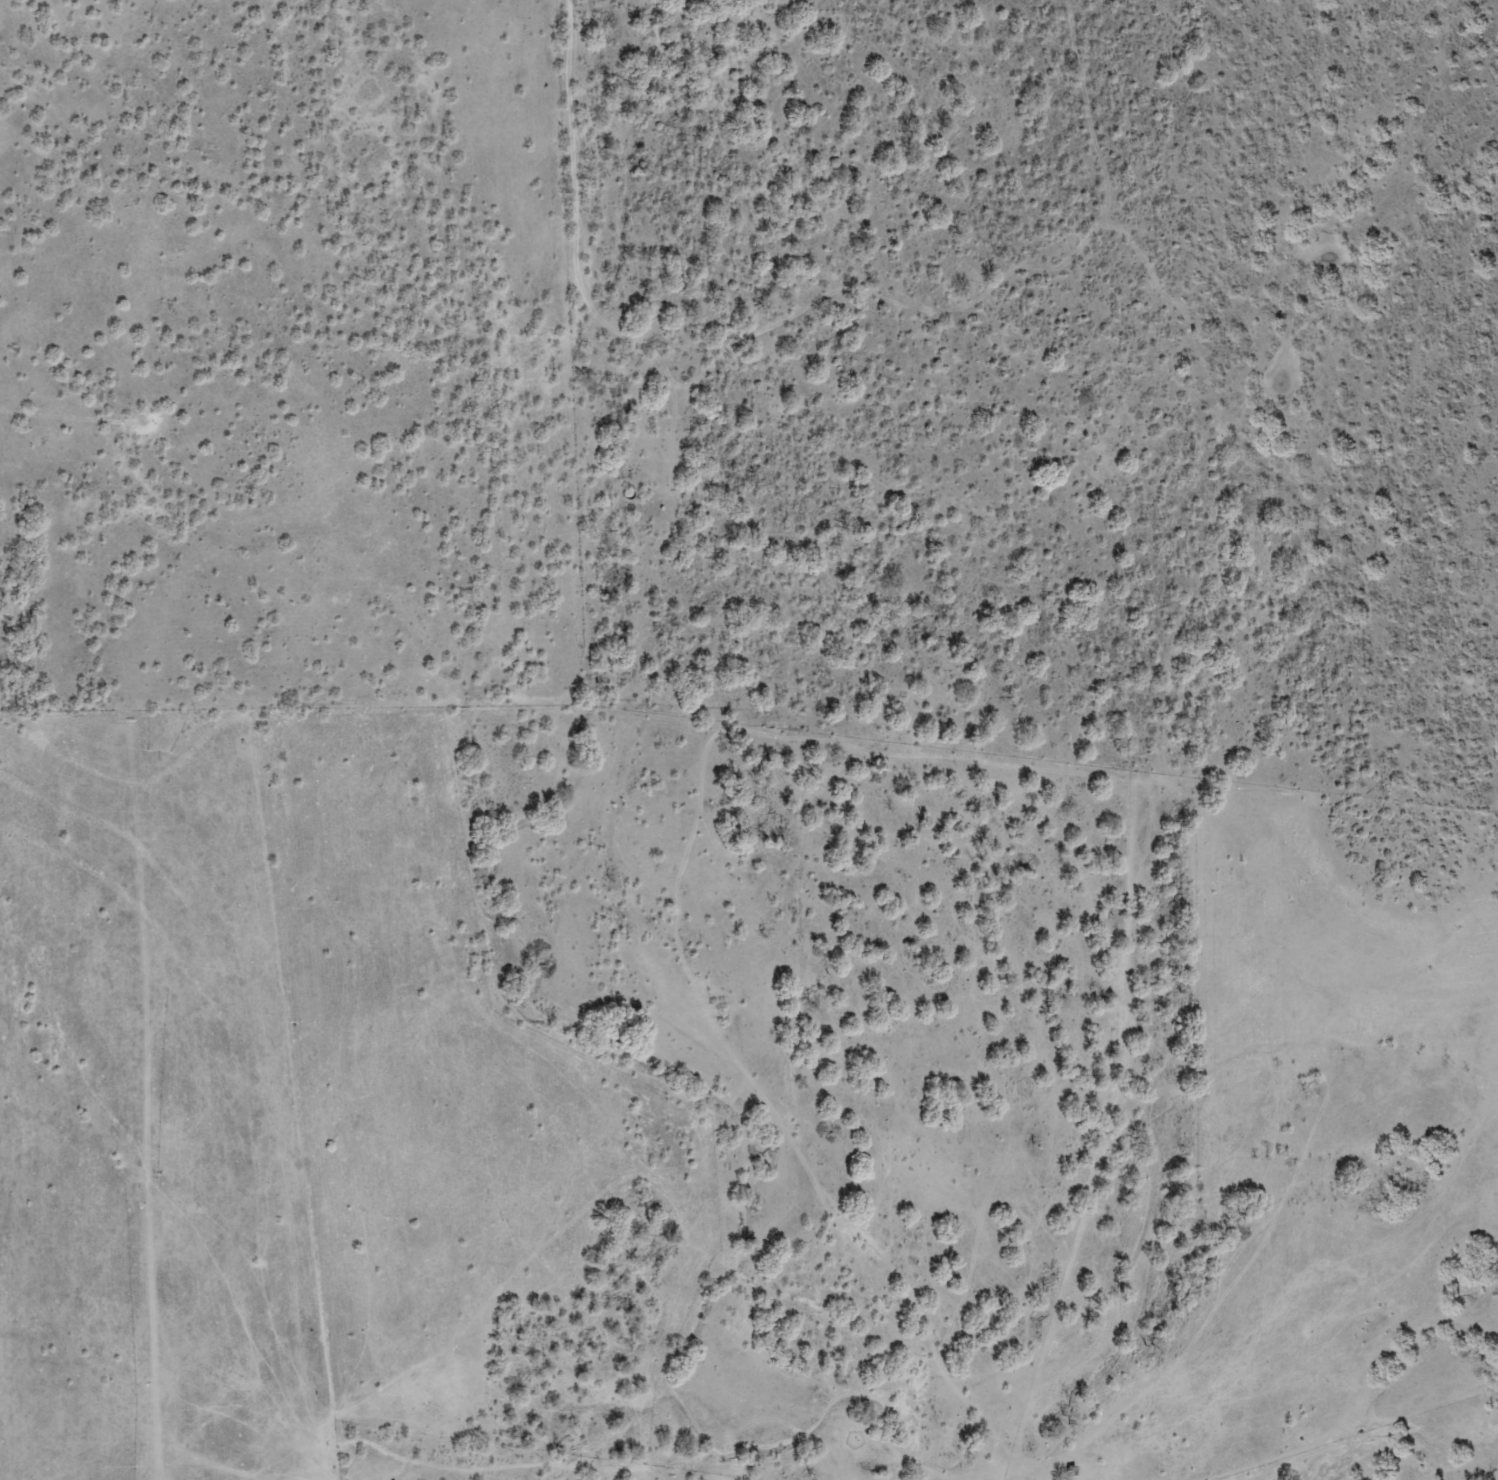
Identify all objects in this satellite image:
road: (786, 379)
building: (630, 495)

